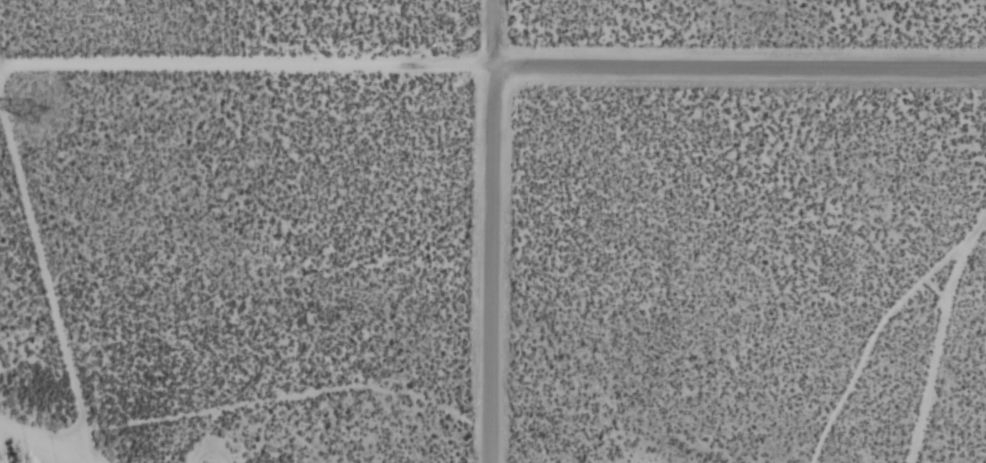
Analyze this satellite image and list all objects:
road: (504, 34)
road: (252, 63)
road: (745, 69)
power tower: (36, 106)
road: (46, 258)
road: (491, 265)
road: (65, 440)

